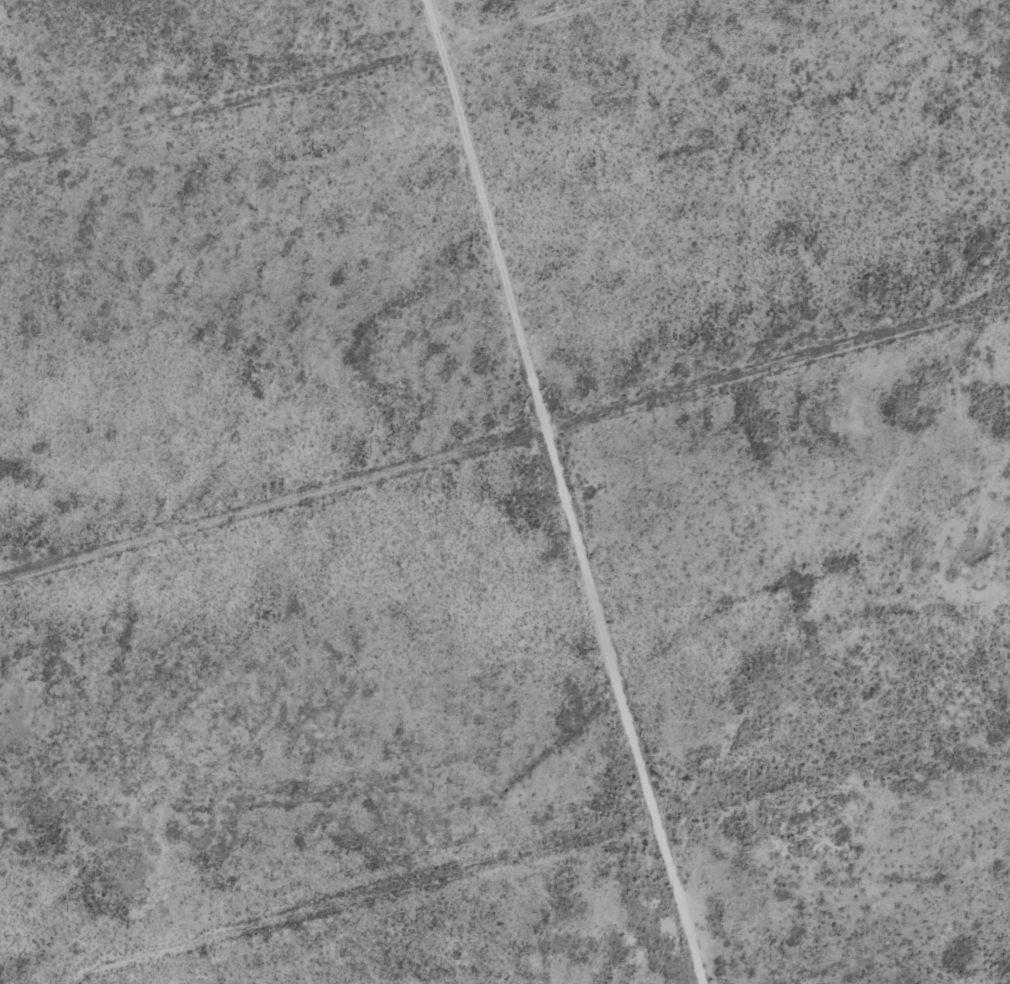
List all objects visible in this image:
road: (759, 382)
road: (517, 490)
road: (361, 907)

